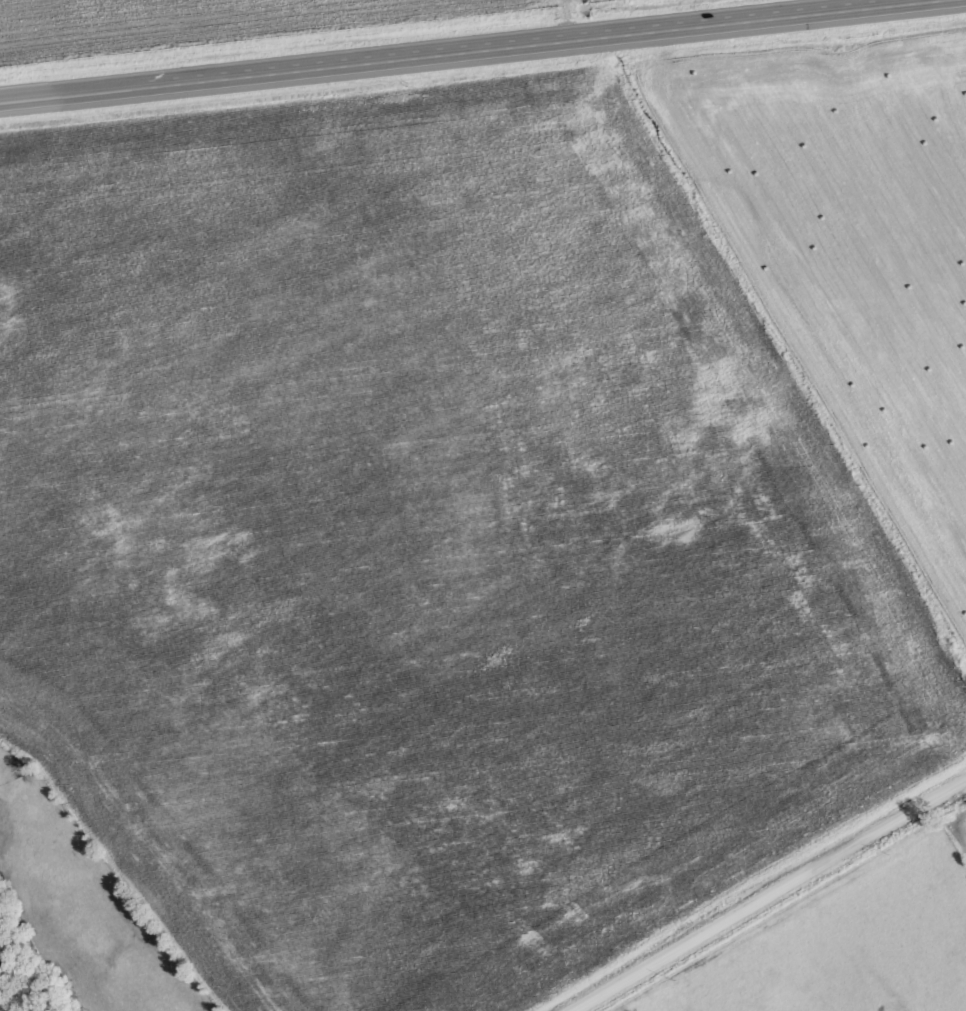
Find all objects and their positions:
road: (445, 48)
road: (768, 894)

